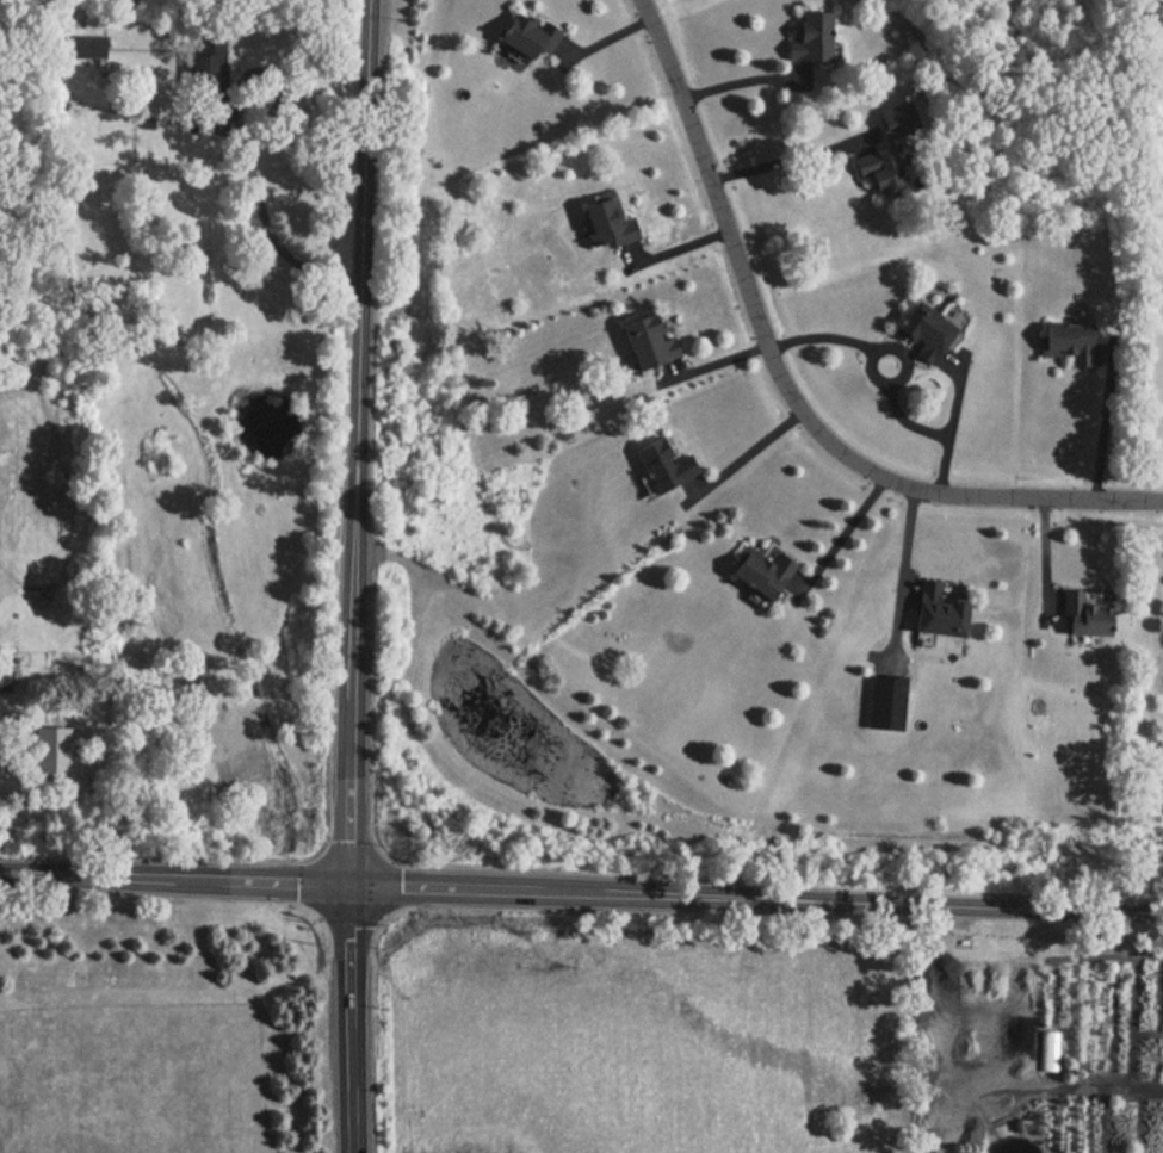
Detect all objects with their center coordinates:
building: (524, 35)
building: (808, 35)
road: (747, 79)
road: (790, 153)
building: (878, 171)
building: (601, 219)
road: (271, 231)
building: (918, 329)
building: (644, 340)
building: (1064, 342)
road: (890, 380)
road: (791, 388)
road: (1101, 433)
road: (748, 450)
building: (661, 464)
road: (842, 533)
building: (759, 569)
road: (357, 576)
building: (935, 608)
building: (1082, 615)
road: (178, 879)
traffic signals: (355, 886)
road: (759, 898)
building: (1047, 1050)
road: (1035, 1087)

